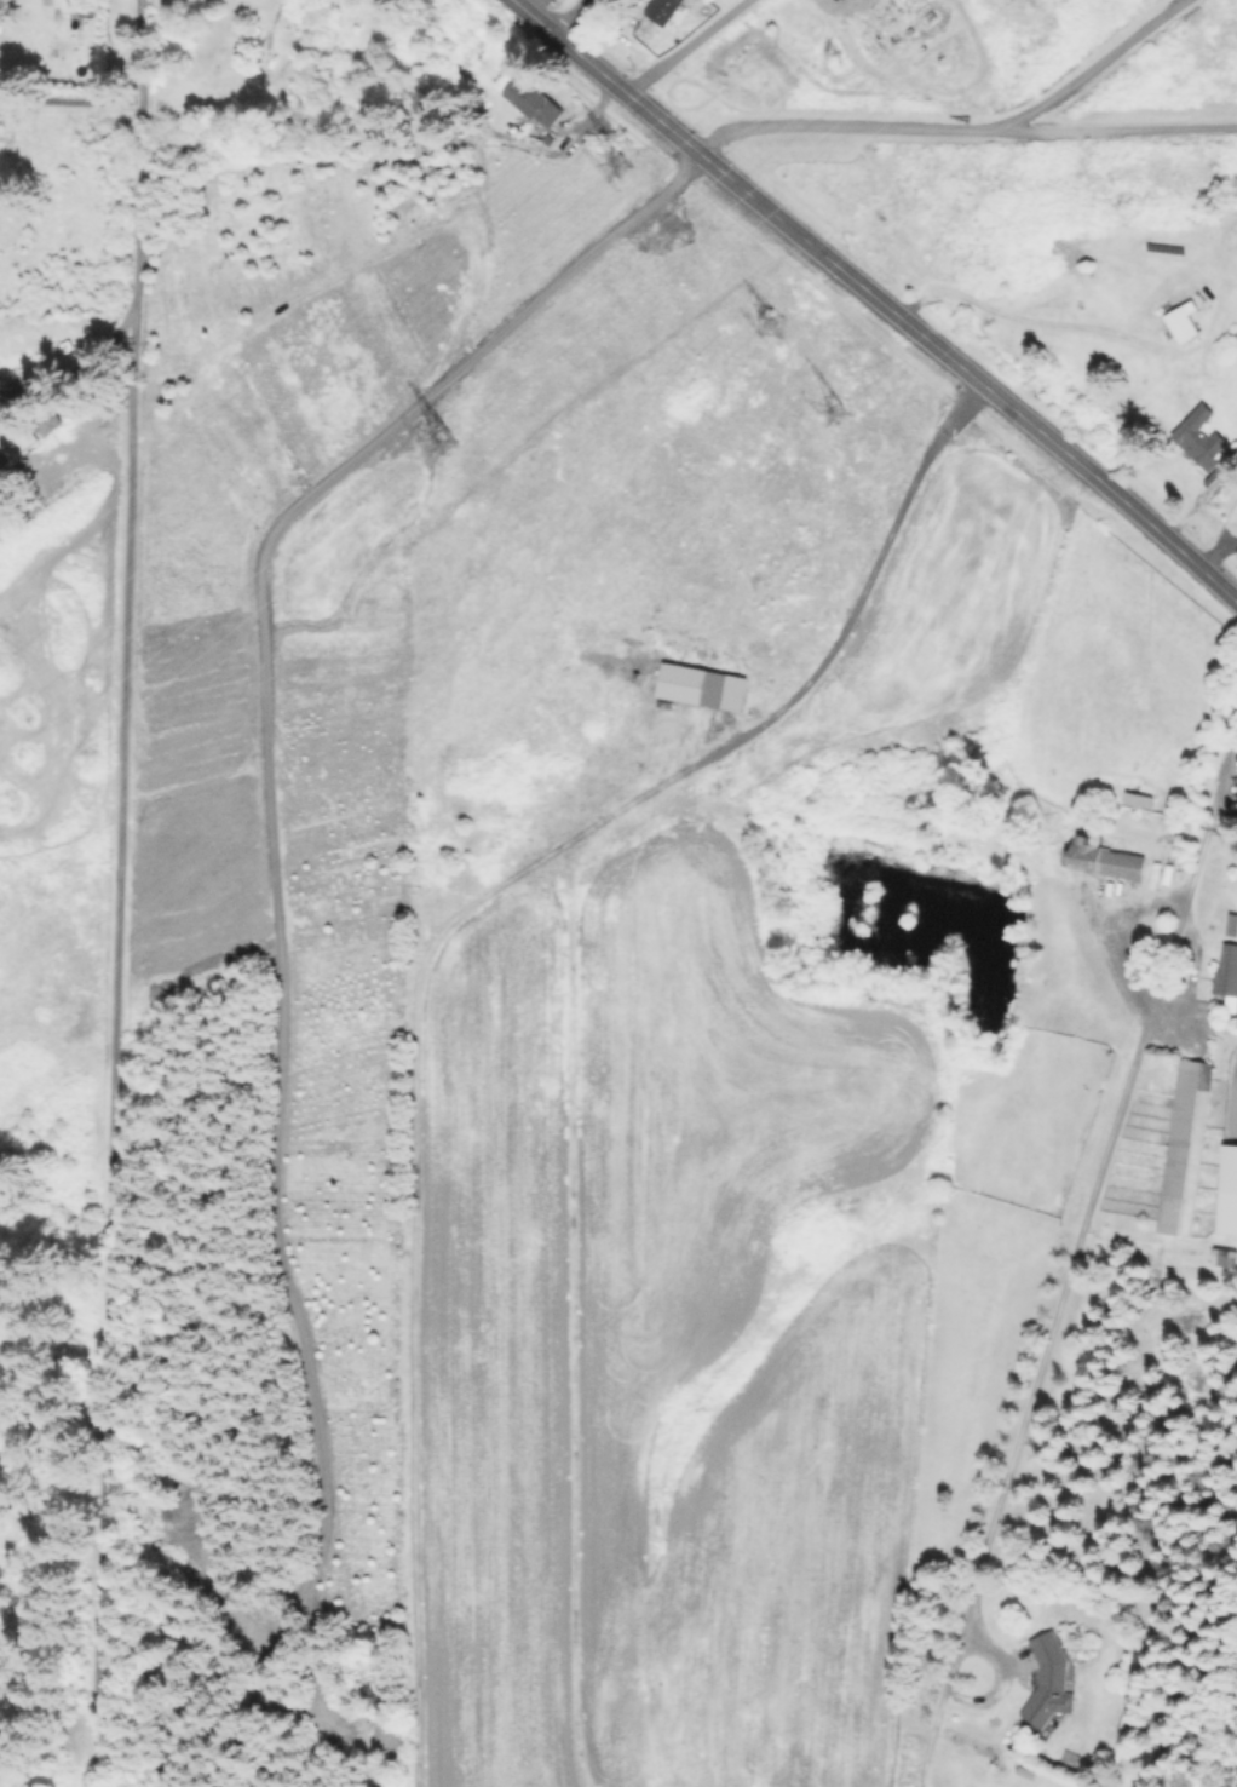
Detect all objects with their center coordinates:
building: (663, 10)
road: (566, 16)
road: (702, 52)
road: (1100, 70)
road: (915, 85)
road: (71, 99)
building: (534, 100)
building: (422, 104)
road: (967, 134)
power tower: (621, 155)
road: (876, 298)
road: (1014, 322)
building: (1183, 322)
power tower: (776, 326)
road: (74, 369)
power tower: (839, 414)
building: (51, 419)
building: (1201, 437)
power tower: (450, 443)
building: (702, 688)
road: (1214, 820)
building: (1100, 854)
road: (272, 884)
road: (119, 892)
building: (1227, 975)
road: (579, 1001)
road: (1146, 1011)
building: (1184, 1147)
building: (1229, 1191)
building: (1222, 1254)
road: (1064, 1304)
building: (1049, 1680)
road: (984, 1695)
building: (1147, 1781)

